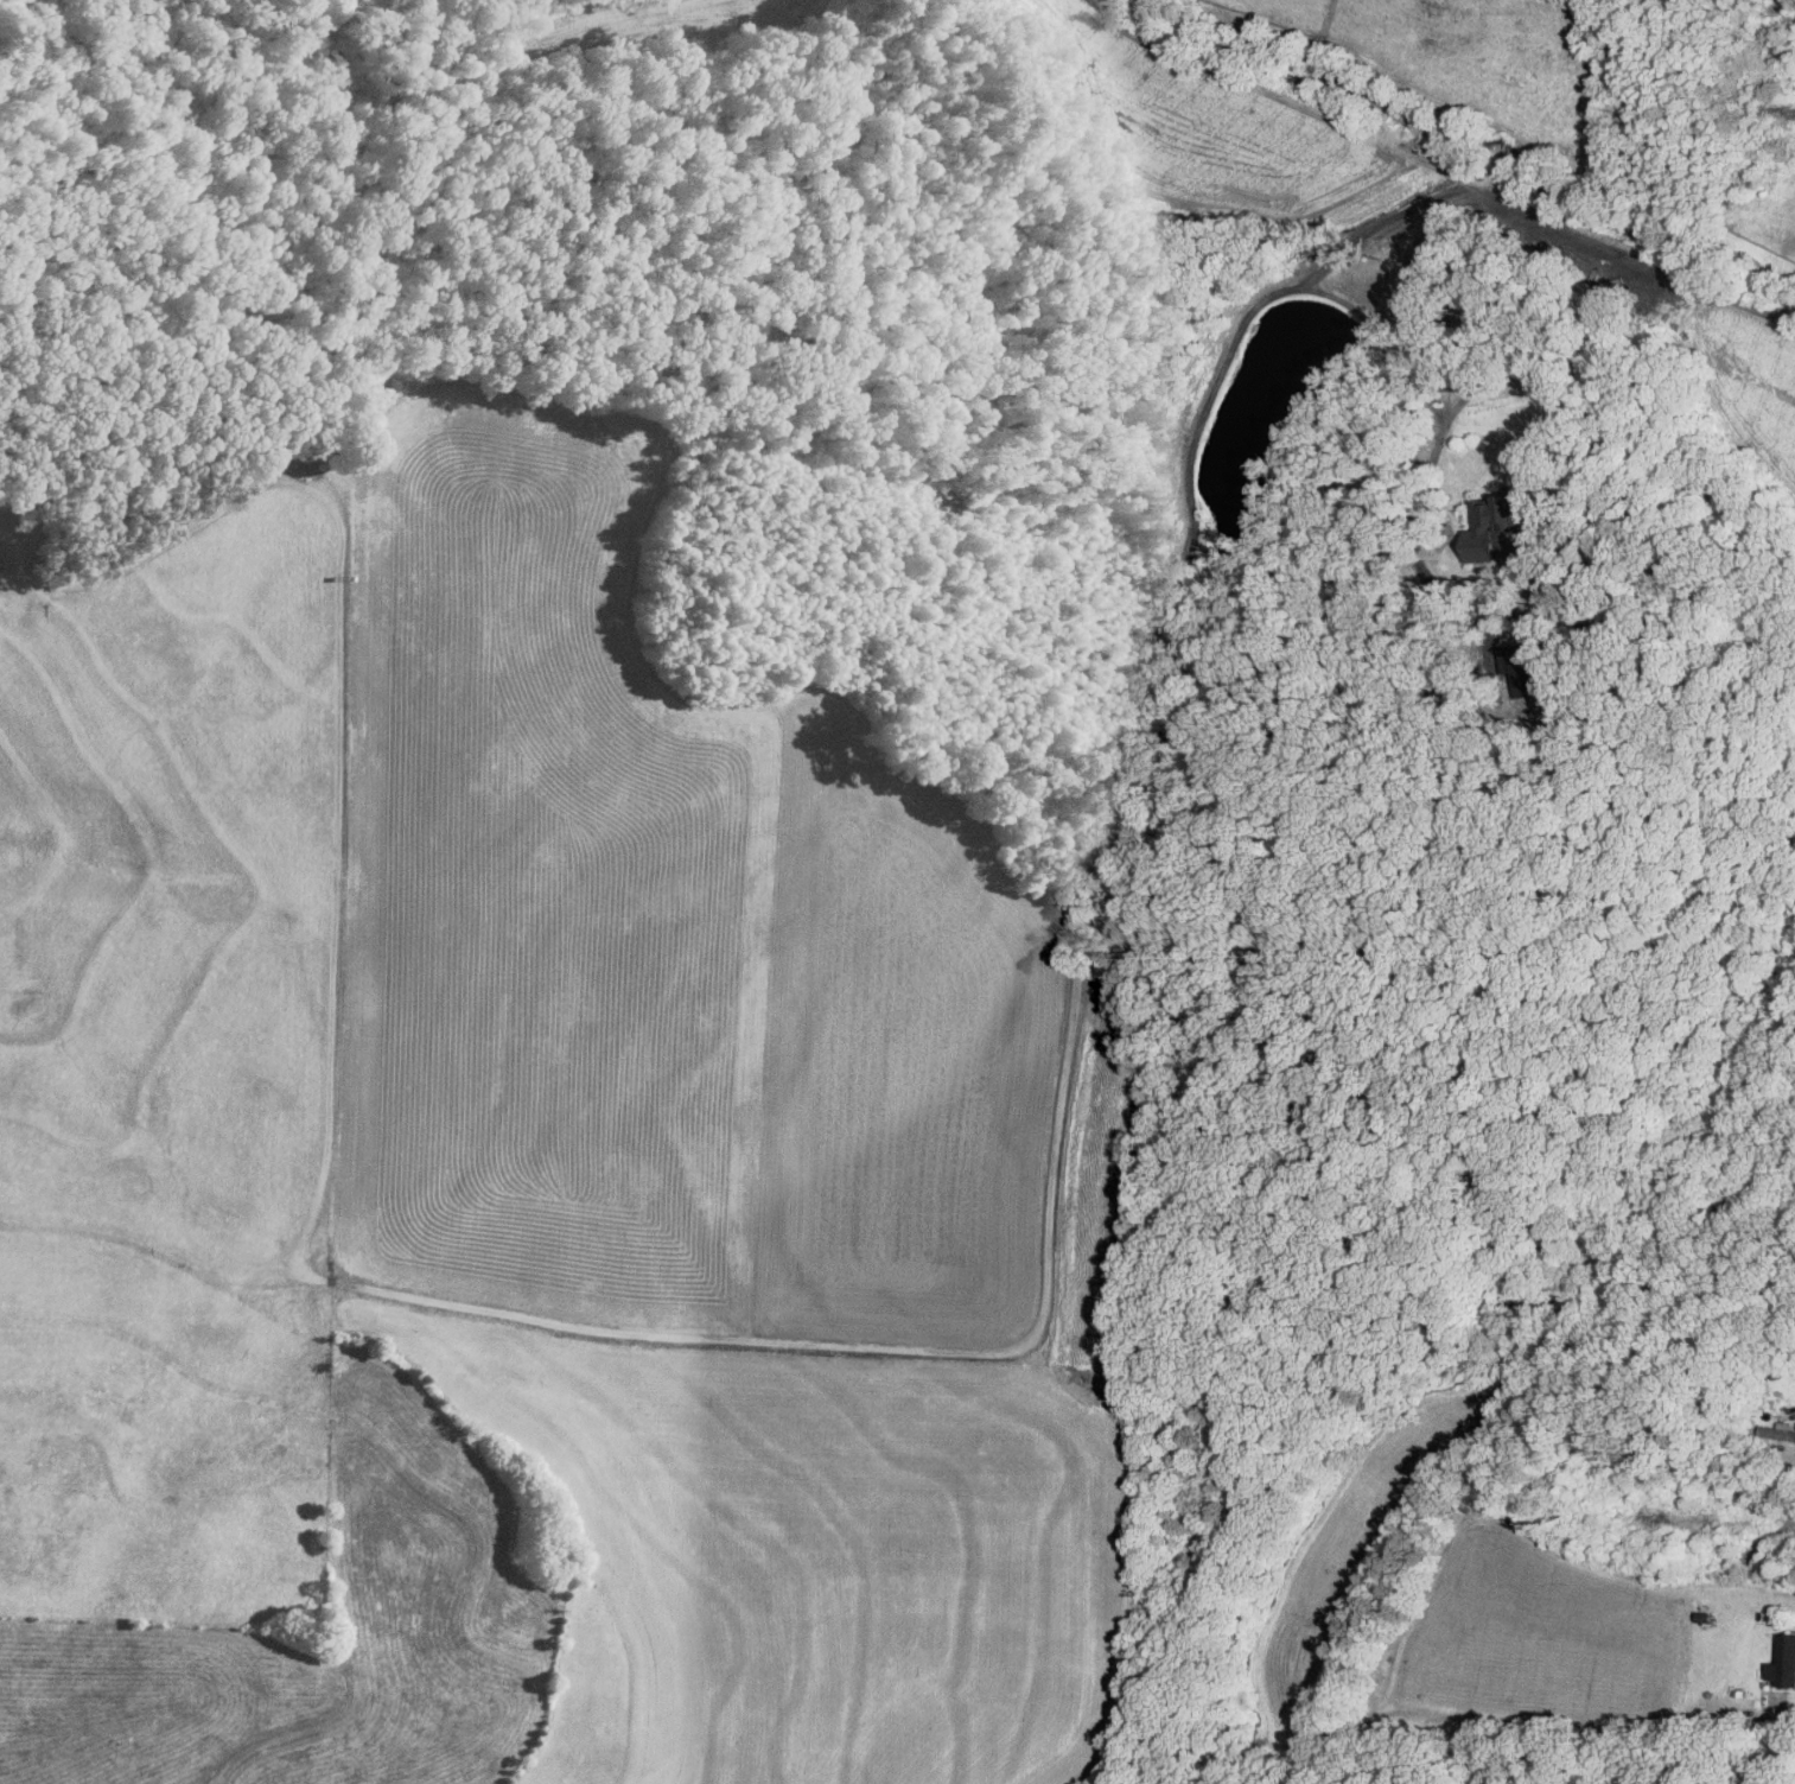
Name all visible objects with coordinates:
building: (1498, 522)
road: (1666, 583)
building: (1778, 1431)
building: (1784, 1661)
road: (1776, 1718)

